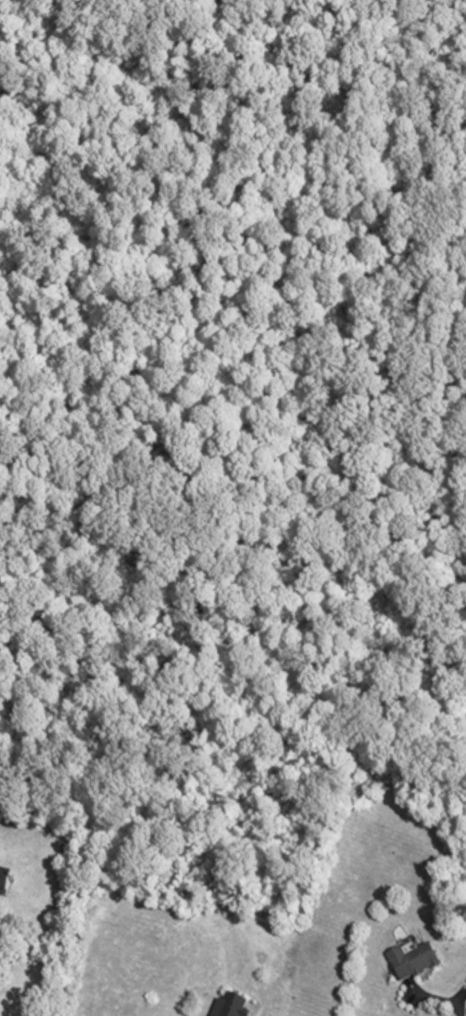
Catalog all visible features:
building: (6, 880)
building: (412, 959)
road: (441, 999)
building: (232, 1006)

